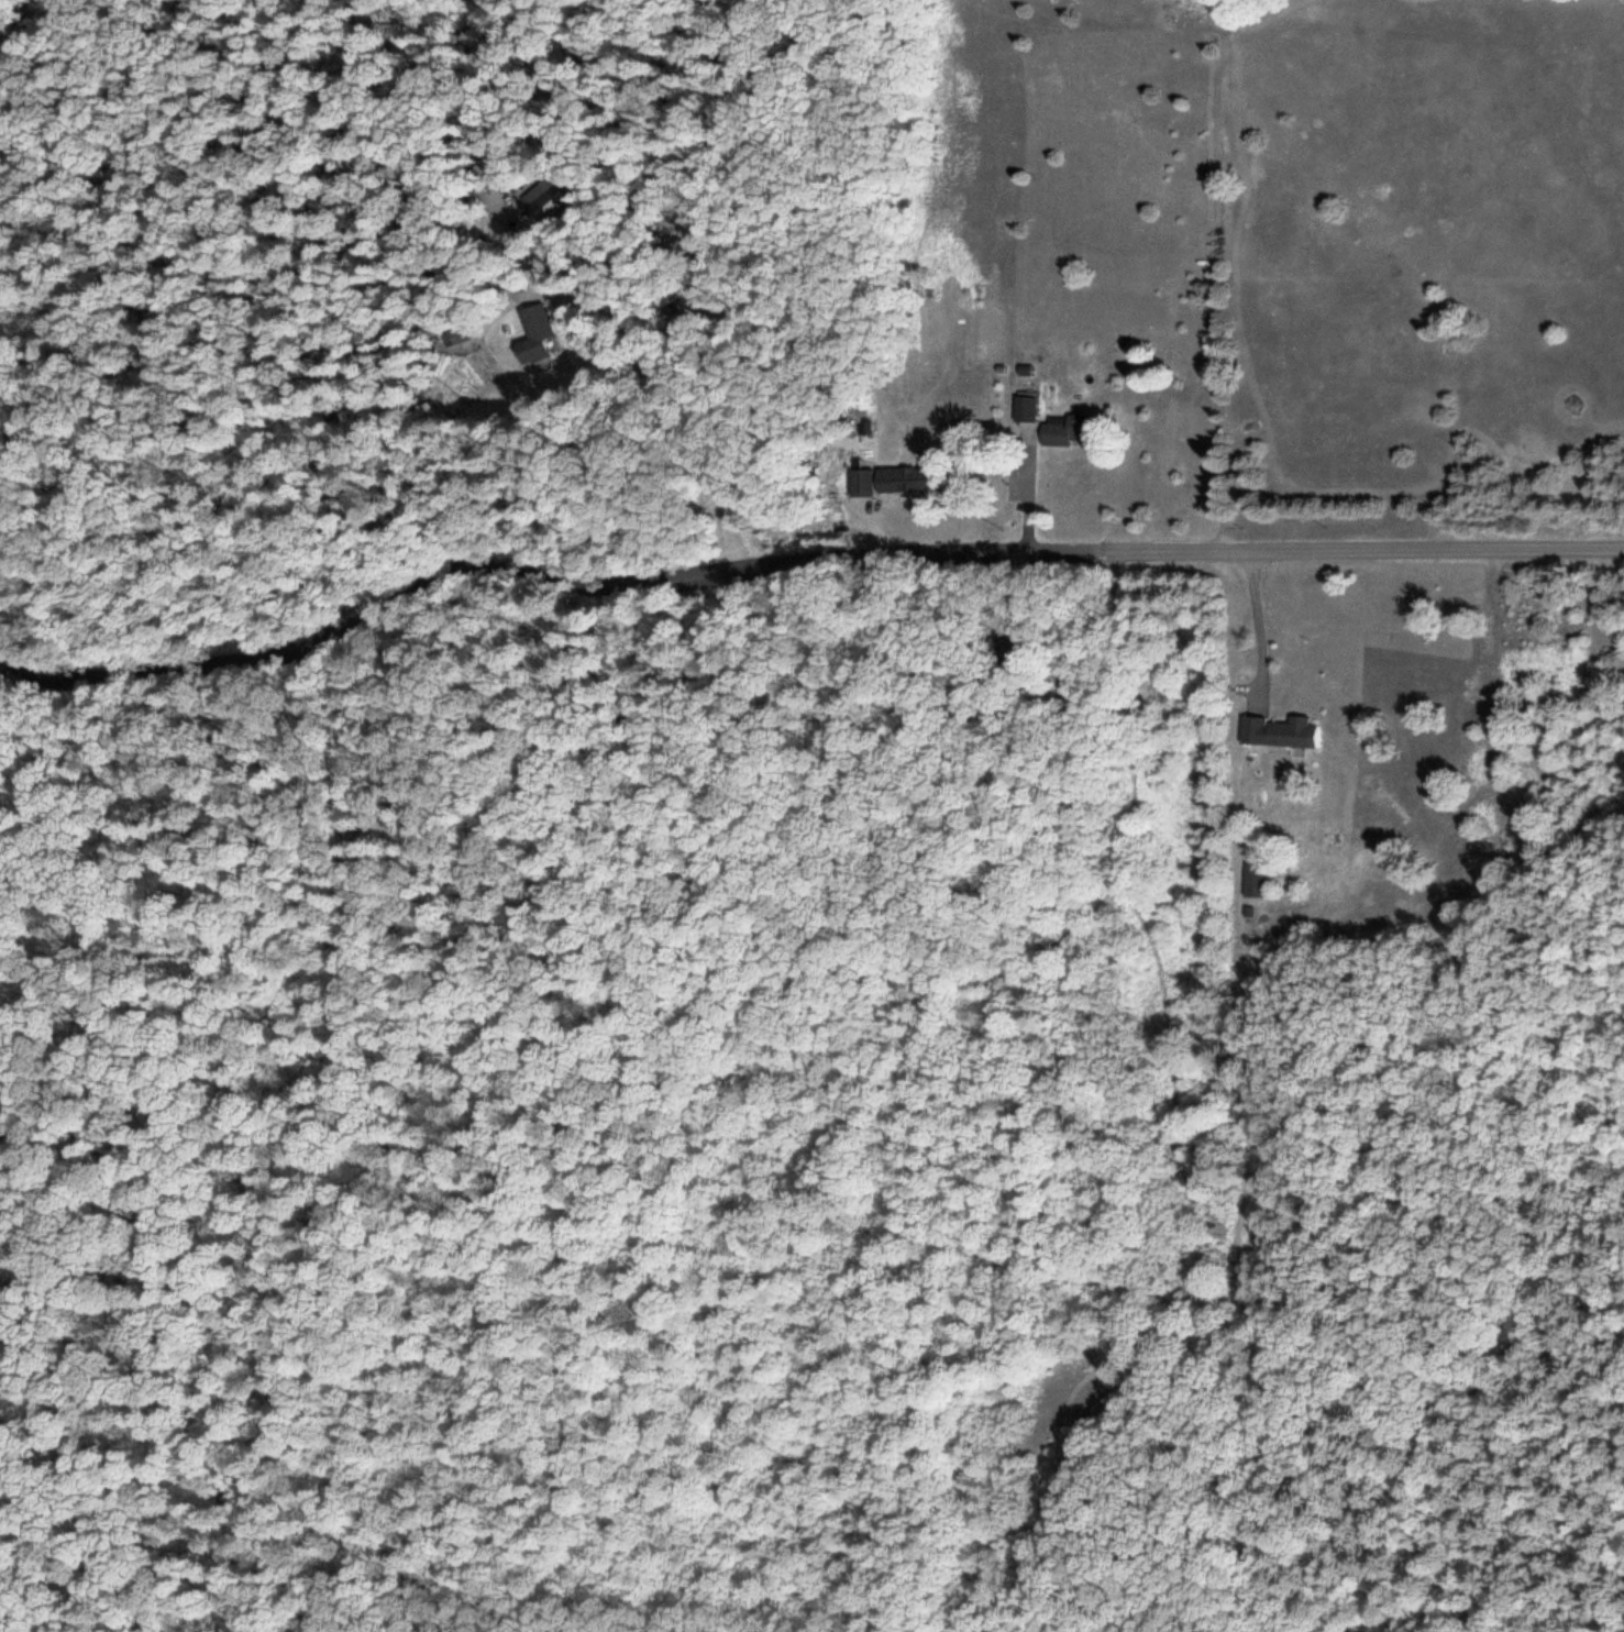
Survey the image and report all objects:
road: (1225, 16)
building: (541, 195)
building: (533, 331)
building: (1025, 406)
road: (1259, 417)
building: (1064, 428)
building: (906, 477)
building: (860, 479)
road: (793, 561)
building: (1279, 730)
road: (1179, 1116)

